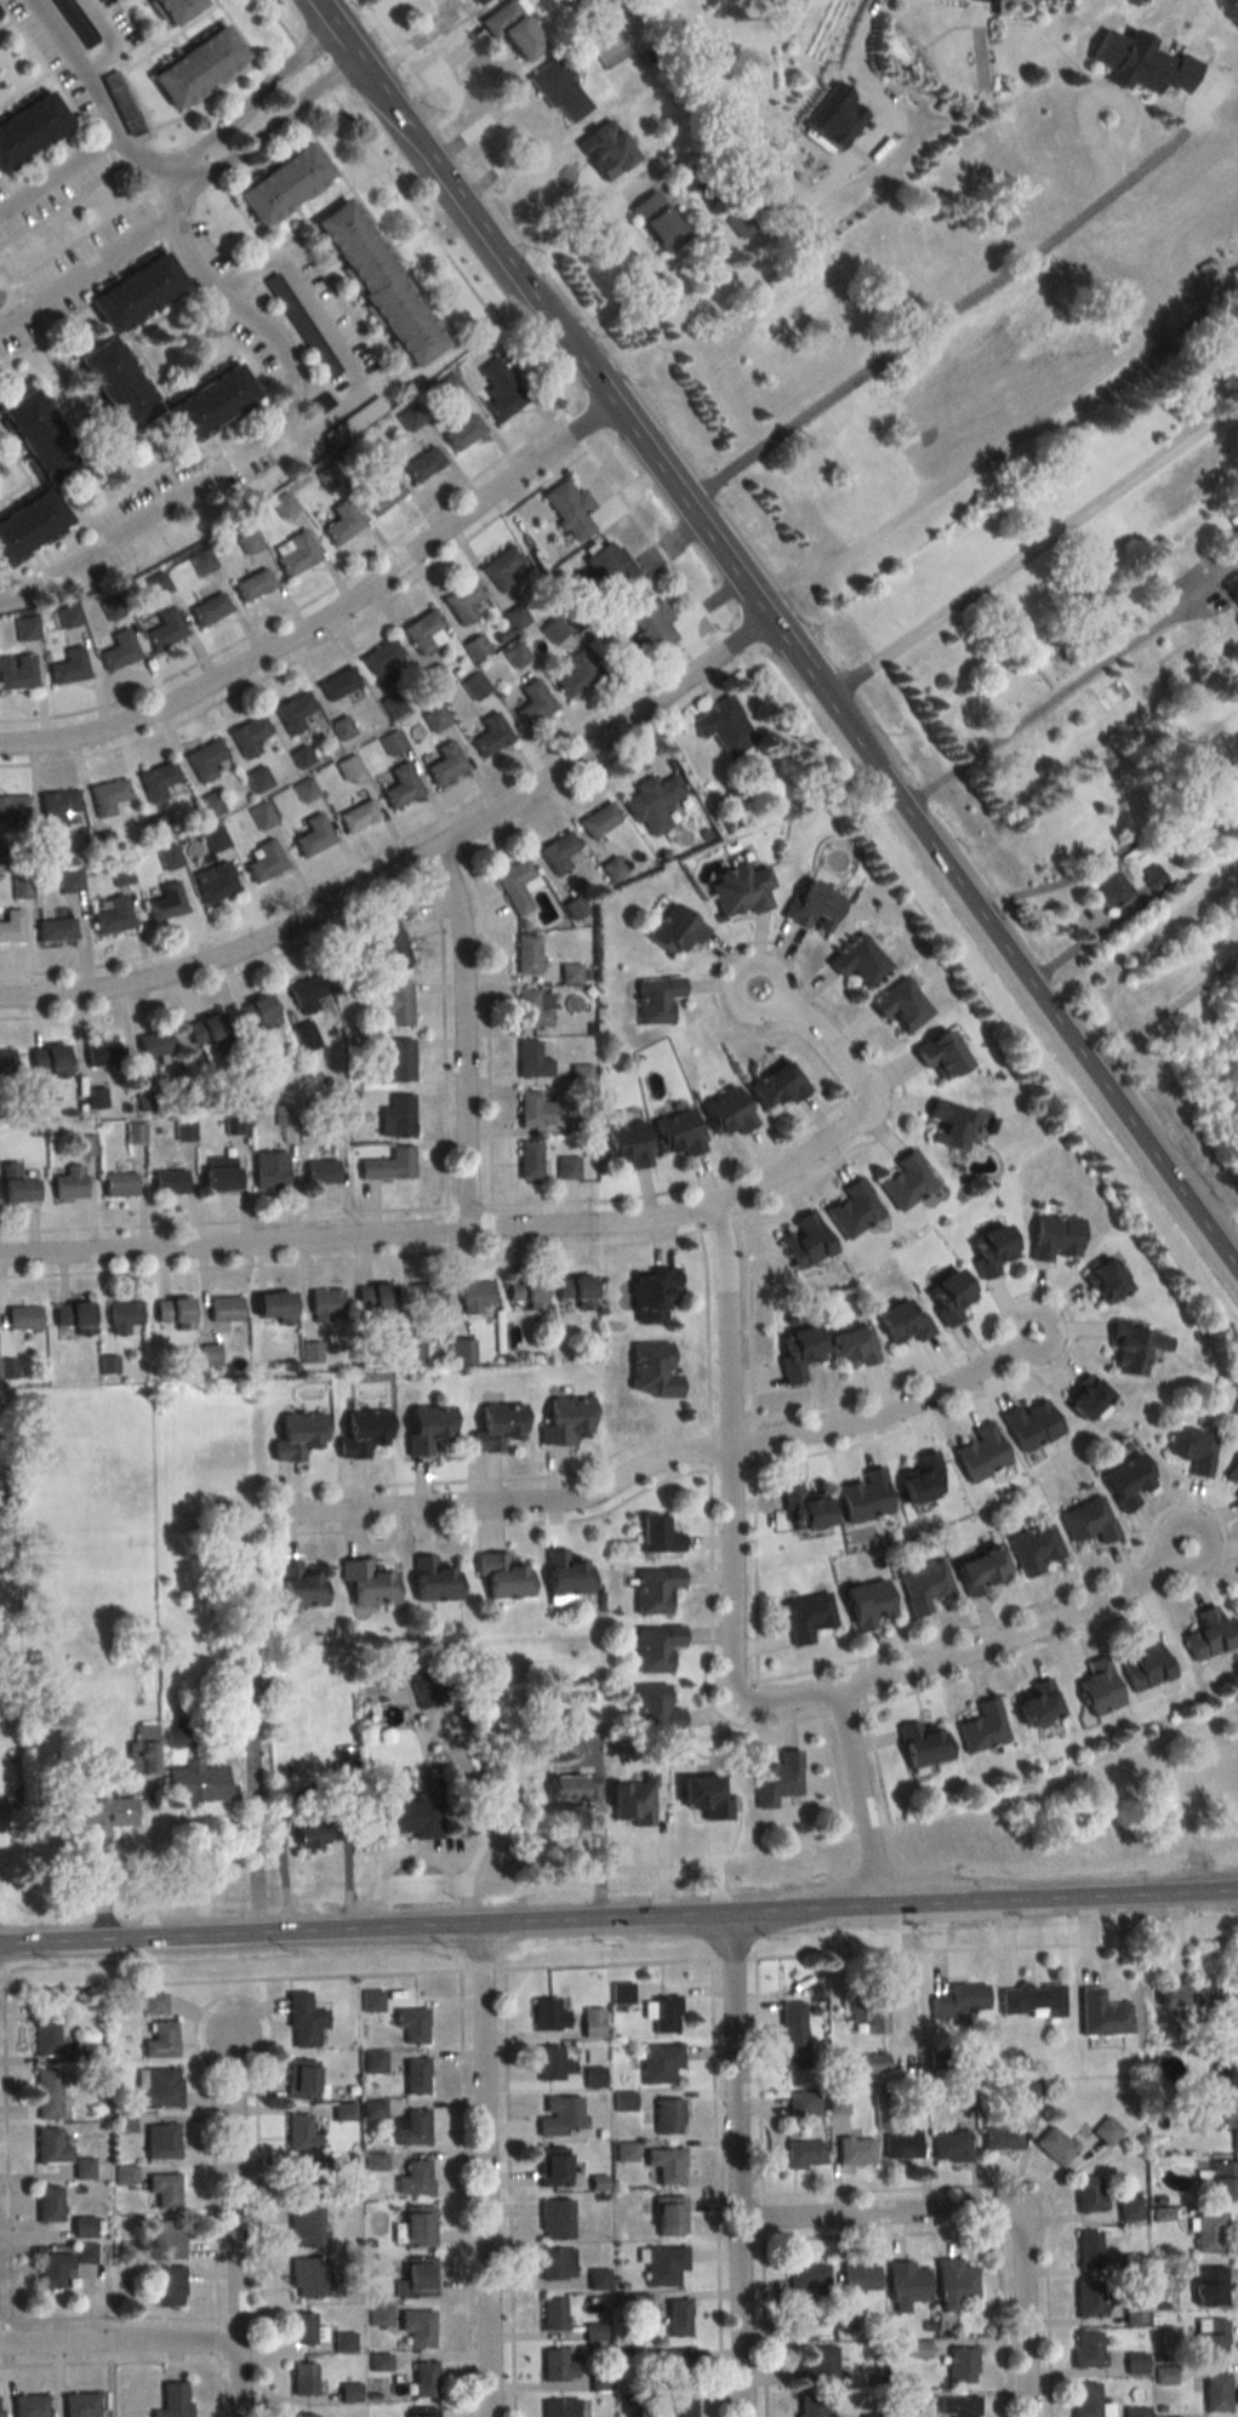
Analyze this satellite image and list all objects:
building: (478, 1)
building: (170, 10)
building: (510, 29)
road: (113, 38)
road: (852, 53)
building: (1139, 62)
building: (196, 68)
building: (559, 91)
road: (96, 92)
building: (834, 115)
building: (29, 128)
road: (494, 138)
road: (187, 170)
road: (58, 177)
road: (172, 178)
building: (283, 185)
building: (1237, 196)
building: (656, 222)
building: (738, 222)
road: (639, 240)
road: (86, 269)
building: (376, 284)
building: (135, 292)
road: (329, 332)
building: (312, 343)
building: (115, 384)
building: (500, 388)
building: (320, 402)
building: (209, 405)
building: (353, 421)
building: (462, 432)
building: (38, 436)
road: (264, 441)
building: (423, 463)
road: (979, 463)
building: (329, 476)
road: (707, 487)
building: (382, 491)
building: (570, 510)
building: (342, 522)
building: (29, 526)
building: (249, 542)
building: (295, 553)
road: (1029, 553)
building: (610, 566)
building: (502, 567)
building: (252, 584)
building: (1232, 587)
building: (463, 602)
building: (209, 608)
building: (69, 616)
building: (517, 617)
road: (324, 618)
building: (649, 622)
building: (29, 627)
building: (164, 629)
building: (553, 630)
building: (423, 632)
road: (777, 639)
building: (475, 647)
building: (119, 651)
building: (517, 655)
building: (382, 661)
building: (69, 667)
building: (17, 672)
building: (575, 674)
building: (434, 676)
building: (337, 684)
building: (474, 686)
road: (1069, 686)
building: (534, 703)
building: (393, 704)
building: (293, 712)
building: (435, 719)
building: (342, 727)
building: (724, 727)
building: (249, 735)
building: (490, 736)
building: (392, 743)
building: (301, 756)
building: (206, 759)
building: (445, 764)
building: (348, 766)
building: (257, 778)
building: (161, 781)
building: (400, 787)
building: (304, 789)
building: (108, 796)
building: (652, 802)
building: (209, 805)
building: (57, 807)
building: (12, 811)
building: (261, 815)
building: (356, 816)
building: (598, 819)
building: (158, 825)
building: (313, 835)
building: (213, 839)
building: (104, 842)
building: (47, 850)
road: (1114, 851)
building: (558, 852)
building: (169, 857)
building: (266, 861)
road: (405, 863)
building: (121, 873)
building: (69, 880)
building: (217, 882)
building: (22, 886)
building: (517, 886)
building: (1111, 886)
building: (740, 890)
building: (166, 902)
building: (812, 907)
building: (114, 915)
building: (11, 926)
road: (1140, 926)
building: (56, 930)
building: (674, 930)
building: (388, 941)
road: (1068, 949)
building: (526, 954)
building: (858, 960)
building: (306, 994)
building: (655, 999)
building: (393, 1004)
building: (900, 1005)
building: (530, 1010)
road: (1160, 1011)
building: (256, 1013)
building: (202, 1029)
road: (816, 1035)
building: (304, 1038)
road: (462, 1038)
building: (154, 1045)
building: (102, 1055)
building: (939, 1056)
building: (6, 1061)
building: (400, 1061)
building: (531, 1061)
building: (47, 1062)
building: (581, 1074)
building: (775, 1086)
building: (96, 1098)
building: (147, 1099)
building: (534, 1110)
building: (728, 1112)
building: (284, 1115)
building: (396, 1118)
building: (948, 1126)
building: (184, 1131)
building: (677, 1132)
building: (135, 1133)
building: (626, 1144)
building: (84, 1145)
building: (529, 1160)
building: (388, 1166)
building: (567, 1167)
building: (269, 1171)
building: (218, 1173)
building: (320, 1173)
building: (906, 1181)
building: (169, 1182)
building: (69, 1183)
building: (118, 1184)
building: (16, 1185)
building: (854, 1208)
road: (451, 1233)
building: (1054, 1236)
building: (804, 1240)
building: (991, 1250)
building: (1103, 1281)
building: (524, 1292)
building: (574, 1293)
building: (650, 1293)
building: (949, 1296)
building: (424, 1297)
building: (475, 1297)
building: (373, 1299)
building: (325, 1305)
building: (272, 1307)
building: (223, 1309)
building: (172, 1313)
building: (124, 1318)
building: (22, 1319)
building: (72, 1320)
building: (902, 1321)
building: (851, 1347)
building: (1134, 1349)
building: (795, 1353)
building: (209, 1355)
building: (652, 1371)
building: (1085, 1400)
building: (564, 1421)
building: (1028, 1425)
building: (497, 1427)
building: (426, 1428)
building: (361, 1432)
building: (296, 1434)
building: (1192, 1449)
road: (729, 1452)
building: (979, 1453)
road: (662, 1459)
building: (1232, 1474)
building: (922, 1479)
building: (1126, 1481)
building: (1236, 1495)
building: (863, 1497)
building: (803, 1509)
building: (1088, 1521)
building: (657, 1536)
building: (1033, 1548)
building: (980, 1570)
building: (501, 1576)
building: (564, 1577)
building: (433, 1581)
building: (367, 1583)
building: (922, 1585)
building: (297, 1587)
building: (654, 1589)
building: (866, 1605)
building: (1237, 1615)
building: (806, 1617)
building: (1205, 1635)
building: (655, 1646)
road: (976, 1650)
building: (1142, 1663)
building: (1097, 1687)
building: (430, 1690)
building: (235, 1697)
building: (1036, 1704)
building: (655, 1708)
building: (981, 1726)
building: (922, 1743)
building: (139, 1756)
building: (776, 1778)
building: (196, 1783)
building: (572, 1788)
building: (633, 1800)
road: (858, 1800)
building: (99, 1813)
building: (415, 1815)
road: (250, 1827)
building: (308, 1833)
road: (618, 1920)
road: (997, 1945)
road: (734, 1958)
road: (609, 1964)
road: (481, 1969)
road: (230, 1979)
road: (230, 1987)
road: (1, 1992)
building: (1191, 1996)
building: (959, 2000)
building: (1031, 2000)
building: (150, 2004)
building: (866, 2011)
building: (548, 2015)
building: (664, 2015)
building: (1101, 2015)
building: (302, 2019)
road: (270, 2021)
building: (592, 2023)
building: (410, 2024)
building: (1236, 2027)
building: (793, 2035)
building: (42, 2039)
building: (158, 2040)
building: (552, 2062)
building: (658, 2063)
building: (1230, 2070)
building: (413, 2075)
road: (758, 2075)
building: (298, 2080)
building: (154, 2087)
building: (44, 2093)
building: (1027, 2093)
building: (803, 2104)
building: (837, 2104)
building: (559, 2115)
building: (667, 2115)
building: (411, 2127)
building: (1107, 2131)
building: (1234, 2131)
building: (298, 2133)
building: (1000, 2137)
building: (159, 2139)
building: (47, 2145)
building: (901, 2145)
building: (1054, 2145)
building: (949, 2147)
building: (854, 2150)
road: (6, 2155)
building: (803, 2155)
building: (666, 2165)
building: (552, 2166)
road: (735, 2166)
building: (80, 2167)
road: (484, 2170)
road: (1020, 2175)
building: (301, 2178)
building: (413, 2178)
building: (1222, 2181)
road: (718, 2188)
building: (162, 2189)
road: (509, 2193)
building: (1088, 2193)
road: (466, 2194)
building: (45, 2204)
building: (668, 2216)
road: (761, 2216)
road: (872, 2217)
building: (554, 2218)
road: (233, 2225)
building: (416, 2225)
building: (80, 2227)
building: (303, 2227)
building: (1209, 2233)
building: (165, 2239)
building: (1088, 2249)
building: (85, 2252)
building: (557, 2263)
building: (663, 2264)
building: (51, 2269)
building: (808, 2275)
building: (304, 2276)
building: (858, 2276)
building: (416, 2278)
building: (598, 2278)
building: (952, 2284)
building: (905, 2285)
building: (165, 2286)
building: (1209, 2286)
building: (1088, 2299)
building: (553, 2313)
building: (377, 2314)
road: (114, 2315)
building: (677, 2318)
road: (1020, 2318)
road: (5, 2320)
road: (765, 2327)
building: (801, 2327)
building: (303, 2329)
building: (416, 2329)
building: (593, 2332)
building: (1209, 2338)
road: (217, 2341)
building: (343, 2342)
road: (116, 2347)
building: (1085, 2348)
road: (109, 2360)
building: (1135, 2362)
building: (557, 2365)
building: (815, 2365)
building: (959, 2365)
building: (674, 2369)
building: (302, 2378)
building: (424, 2379)
building: (600, 2382)
road: (218, 2390)
building: (348, 2393)
building: (1215, 2393)
building: (1084, 2399)
building: (171, 2400)
building: (78, 2405)
building: (27, 2406)
building: (809, 2406)
building: (955, 2406)
building: (559, 2407)
building: (679, 2409)
building: (422, 2411)
building: (1134, 2411)
building: (869, 2415)
building: (308, 2416)

